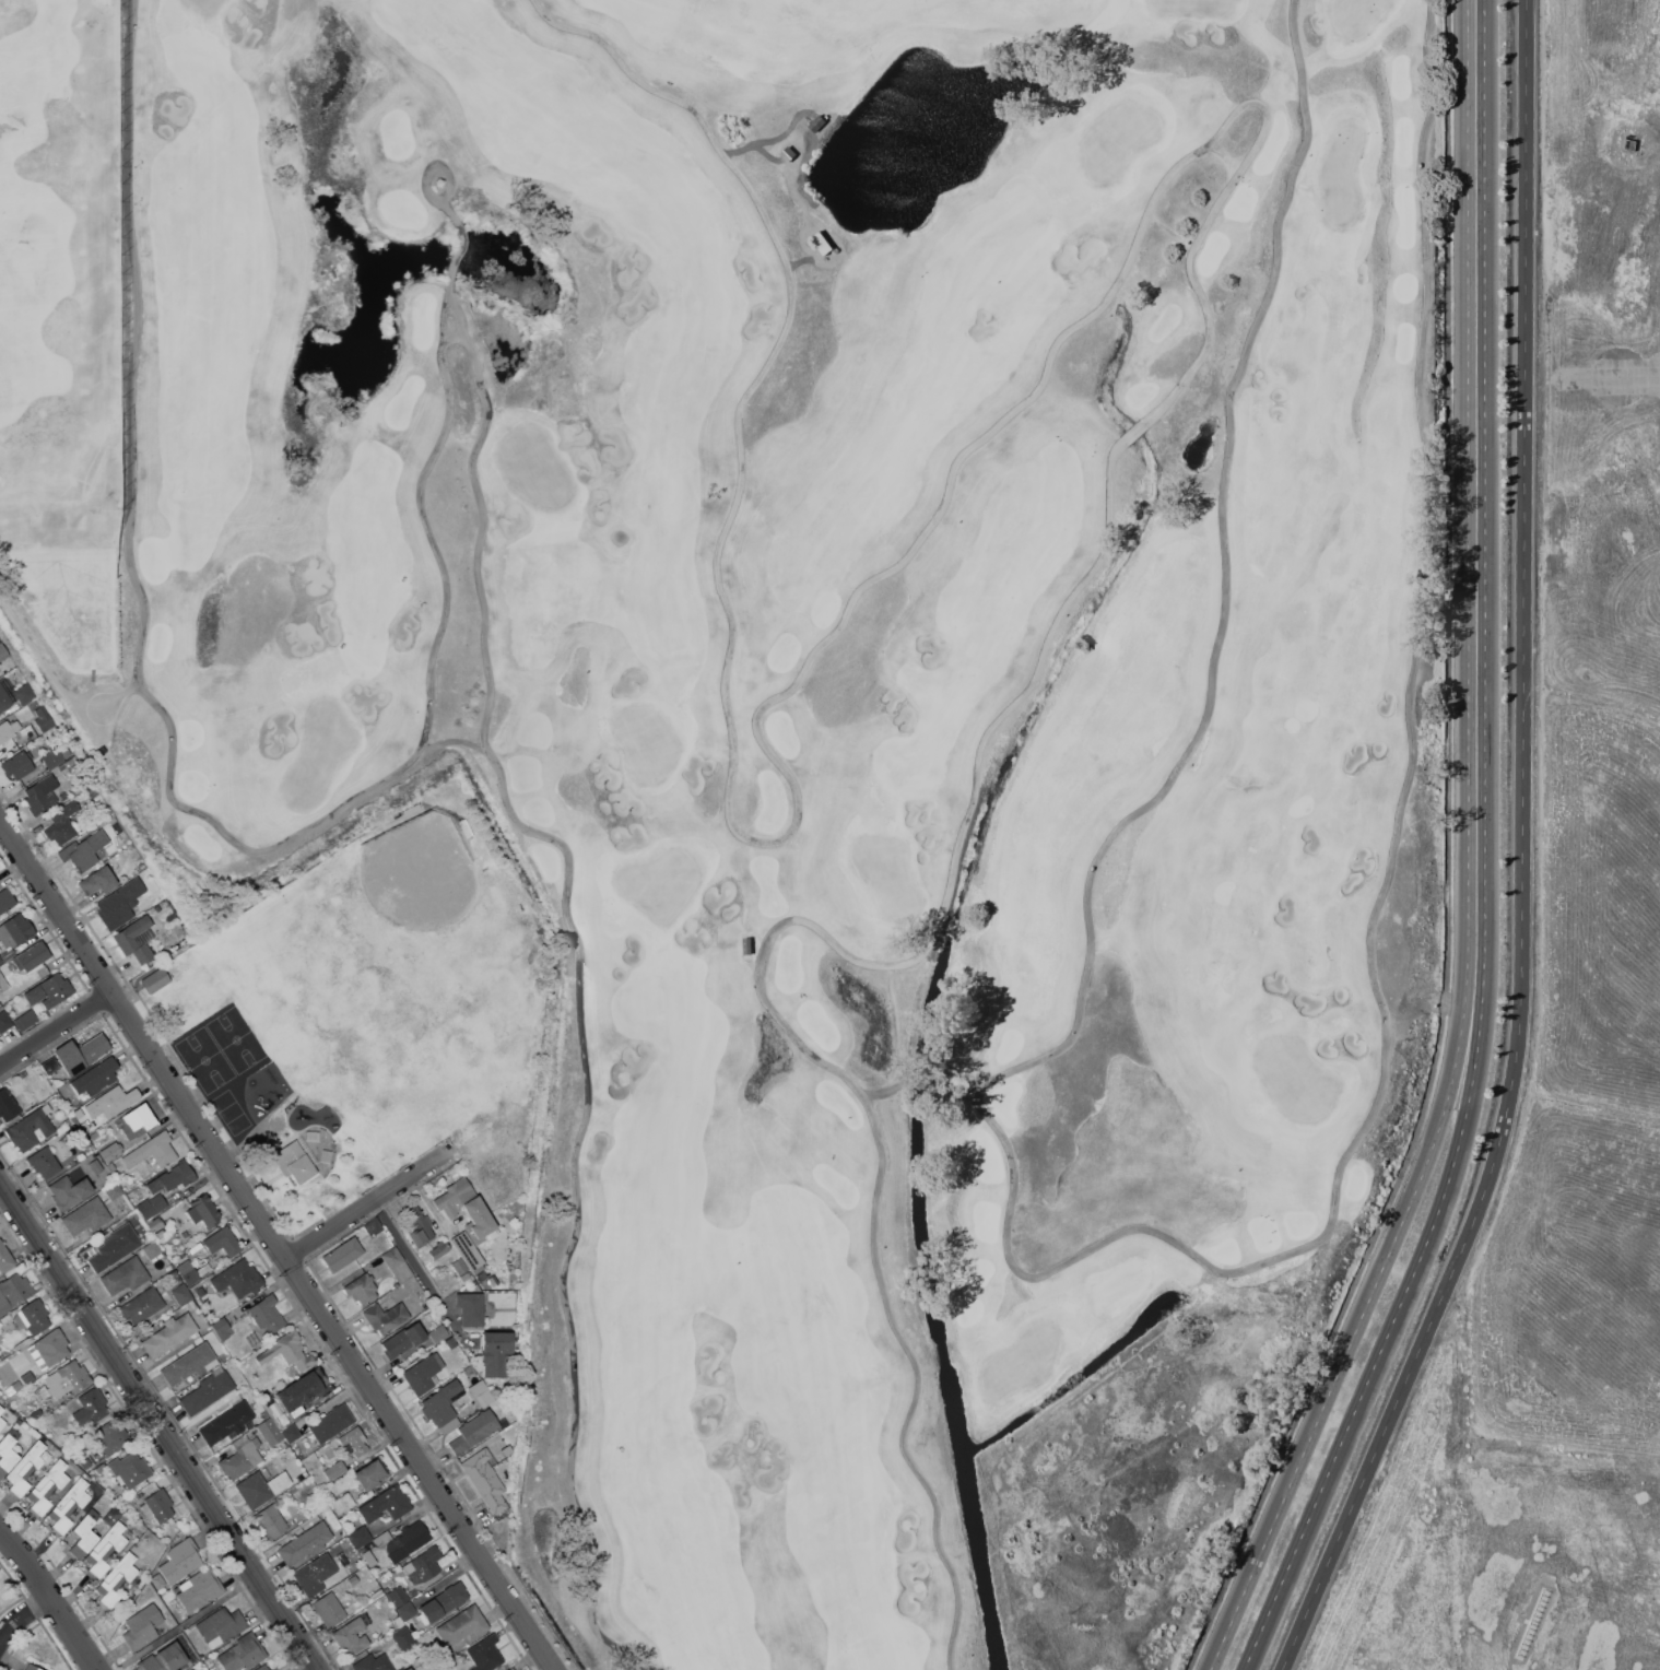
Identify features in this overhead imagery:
building: (817, 122)
building: (788, 154)
building: (821, 242)
park: (60, 245)
road: (1479, 499)
building: (2, 651)
road: (738, 671)
building: (24, 693)
building: (3, 698)
park: (808, 709)
building: (42, 719)
building: (4, 731)
building: (51, 757)
building: (16, 764)
building: (40, 795)
building: (60, 824)
road: (1203, 830)
building: (82, 850)
road: (1520, 857)
road: (1456, 860)
building: (96, 881)
building: (5, 899)
airport: (1575, 902)
park: (410, 906)
building: (114, 908)
building: (14, 931)
building: (134, 940)
building: (31, 956)
building: (0, 961)
building: (155, 979)
building: (3, 984)
building: (49, 991)
park: (379, 1011)
building: (25, 1020)
building: (4, 1021)
road: (57, 1031)
park: (223, 1050)
building: (80, 1054)
road: (1476, 1062)
building: (49, 1066)
building: (95, 1078)
building: (25, 1091)
building: (35, 1097)
building: (30, 1101)
building: (111, 1102)
building: (7, 1106)
building: (138, 1120)
building: (30, 1128)
building: (110, 1151)
building: (152, 1151)
building: (43, 1162)
building: (299, 1168)
building: (173, 1177)
building: (113, 1190)
building: (68, 1191)
building: (156, 1203)
road: (370, 1204)
building: (144, 1210)
building: (202, 1211)
building: (85, 1216)
building: (154, 1224)
building: (479, 1225)
building: (373, 1226)
building: (417, 1226)
building: (222, 1242)
road: (279, 1244)
building: (115, 1247)
building: (151, 1249)
building: (438, 1249)
building: (341, 1255)
building: (5, 1258)
building: (397, 1265)
building: (460, 1269)
road: (419, 1270)
building: (187, 1272)
building: (123, 1275)
building: (237, 1279)
building: (361, 1289)
building: (13, 1292)
building: (180, 1294)
building: (140, 1305)
building: (470, 1307)
building: (266, 1314)
building: (31, 1317)
building: (385, 1317)
building: (221, 1328)
building: (437, 1333)
building: (168, 1334)
road: (1353, 1337)
building: (252, 1340)
building: (402, 1340)
building: (50, 1346)
building: (287, 1351)
building: (494, 1351)
building: (189, 1363)
building: (420, 1375)
building: (67, 1378)
building: (310, 1384)
building: (15, 1386)
building: (207, 1392)
building: (481, 1392)
road: (1365, 1400)
building: (90, 1406)
building: (442, 1407)
building: (1, 1410)
building: (295, 1412)
building: (1, 1422)
building: (226, 1423)
building: (330, 1423)
road: (160, 1424)
building: (473, 1431)
building: (270, 1432)
building: (291, 1433)
building: (107, 1438)
building: (354, 1440)
building: (7, 1450)
building: (240, 1459)
building: (85, 1462)
building: (24, 1468)
building: (129, 1469)
building: (333, 1469)
building: (370, 1473)
building: (484, 1479)
building: (46, 1486)
building: (259, 1489)
building: (342, 1503)
building: (385, 1504)
building: (68, 1505)
building: (158, 1505)
building: (111, 1516)
river: (972, 1520)
building: (271, 1521)
building: (83, 1534)
building: (360, 1537)
building: (382, 1539)
building: (407, 1541)
building: (305, 1543)
building: (104, 1550)
building: (369, 1559)
building: (180, 1561)
building: (424, 1565)
building: (115, 1580)
building: (309, 1580)
building: (353, 1580)
building: (199, 1589)
building: (397, 1596)
road: (51, 1598)
building: (443, 1602)
building: (328, 1610)
building: (405, 1610)
road: (23, 1620)
building: (399, 1621)
building: (462, 1625)
building: (221, 1626)
building: (141, 1627)
building: (351, 1637)
building: (402, 1637)
building: (242, 1654)
building: (484, 1654)
building: (163, 1659)
building: (372, 1663)
building: (31, 1667)
building: (262, 1668)
building: (189, 1669)
building: (190, 1669)
building: (274, 1669)
building: (408, 1669)
building: (511, 1669)

